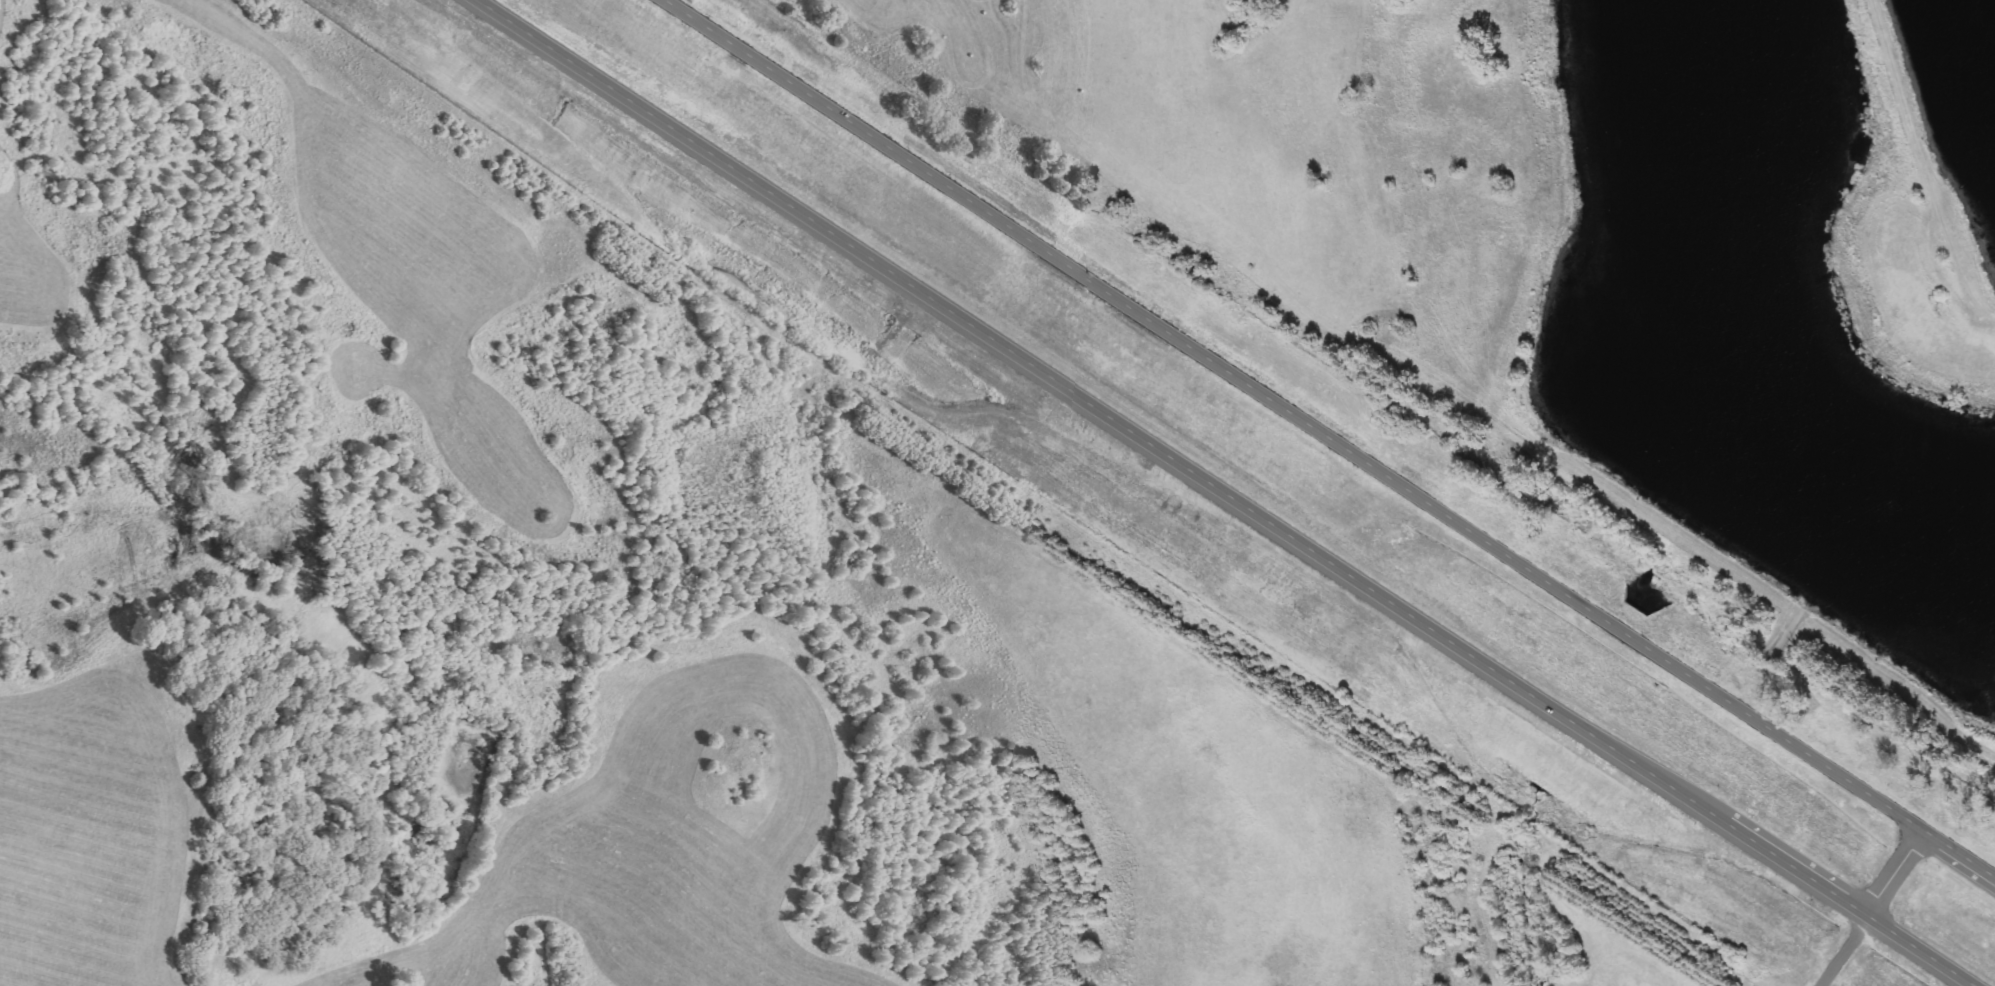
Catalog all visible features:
road: (1331, 438)
road: (1221, 492)
road: (1871, 908)

